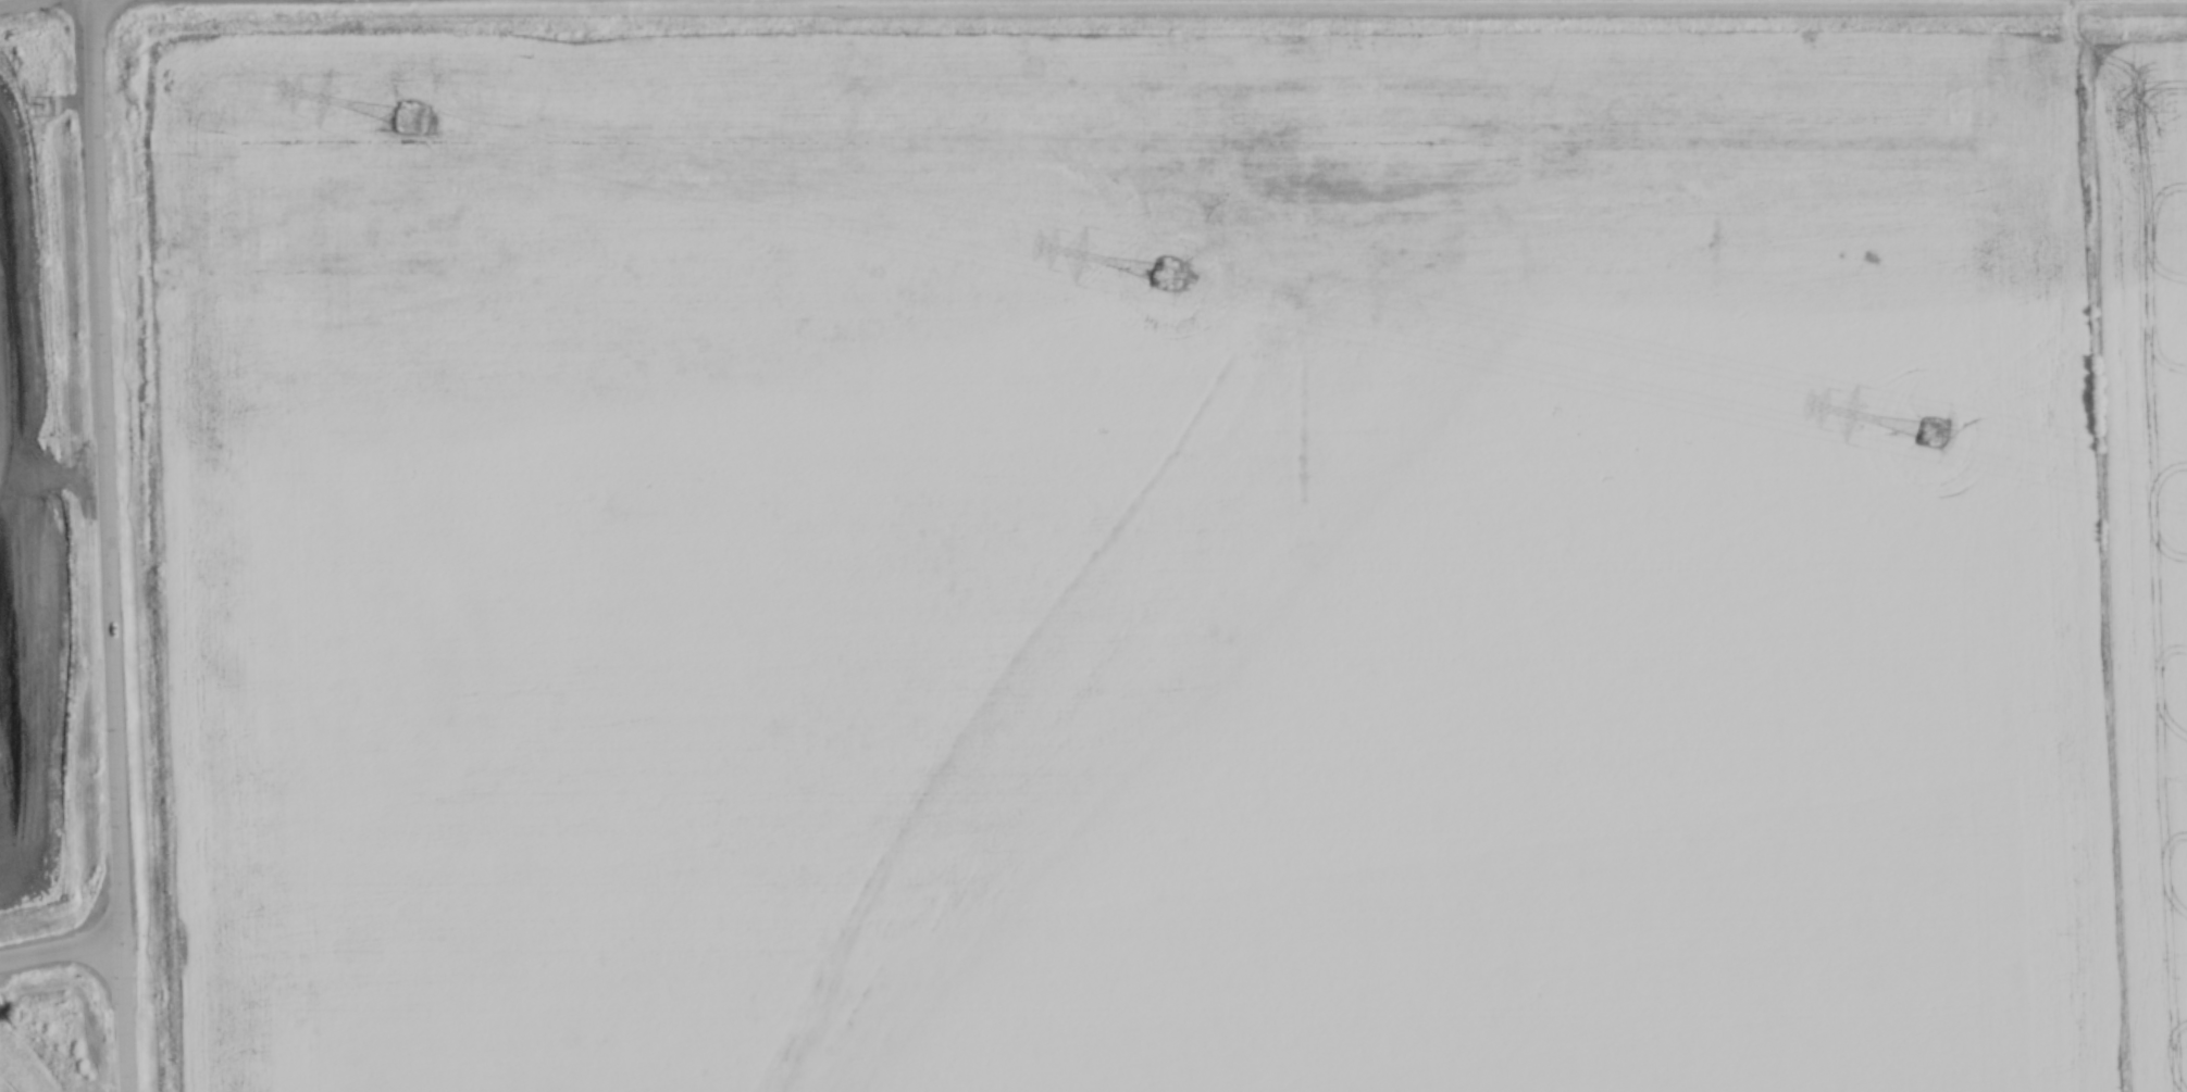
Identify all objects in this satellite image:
road: (17, 3)
power tower: (405, 120)
power tower: (1166, 279)
power tower: (1928, 436)
road: (108, 545)
road: (60, 946)

